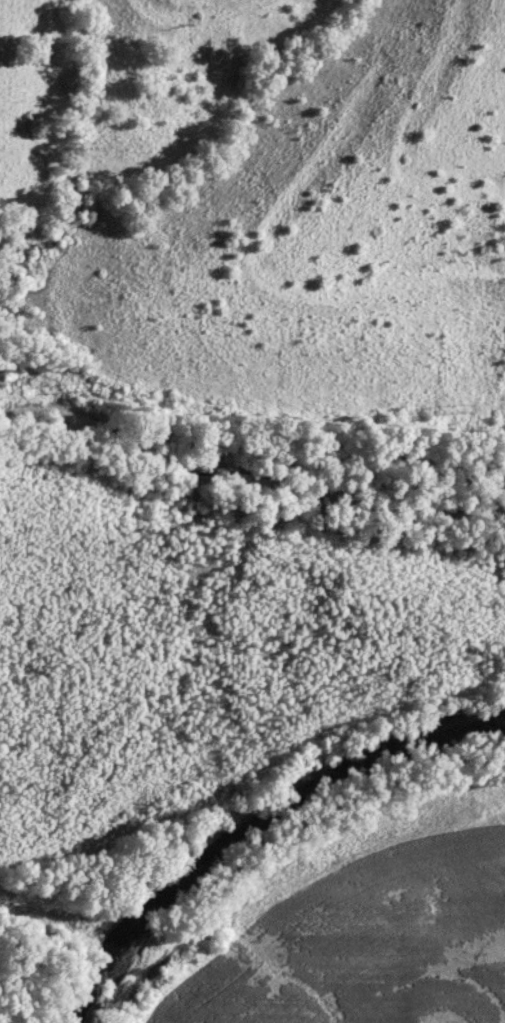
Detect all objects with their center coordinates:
power tower: (89, 385)
power tower: (462, 406)

